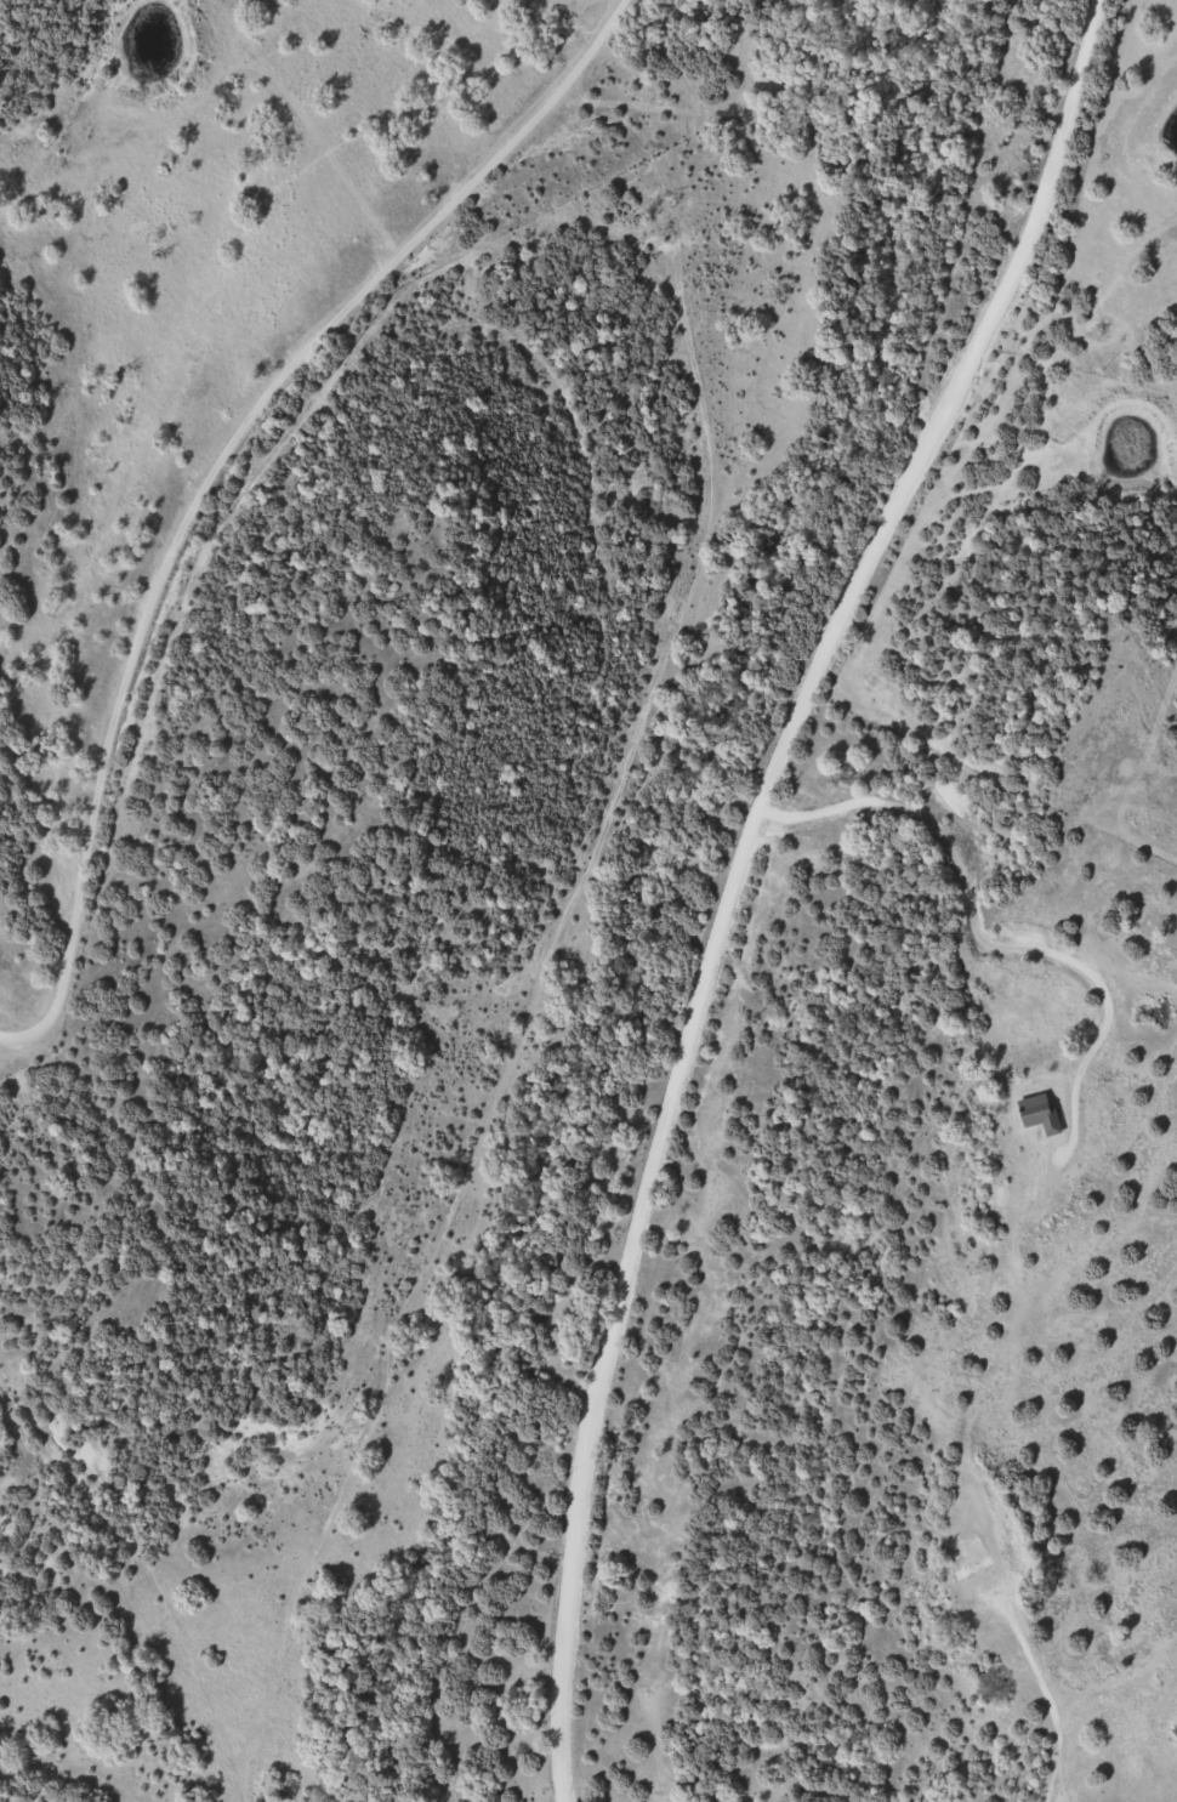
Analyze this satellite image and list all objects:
road: (222, 479)
road: (831, 808)
road: (744, 874)
building: (1041, 1113)
road: (885, 1416)
building: (972, 1568)
building: (954, 1609)
building: (1175, 1729)

